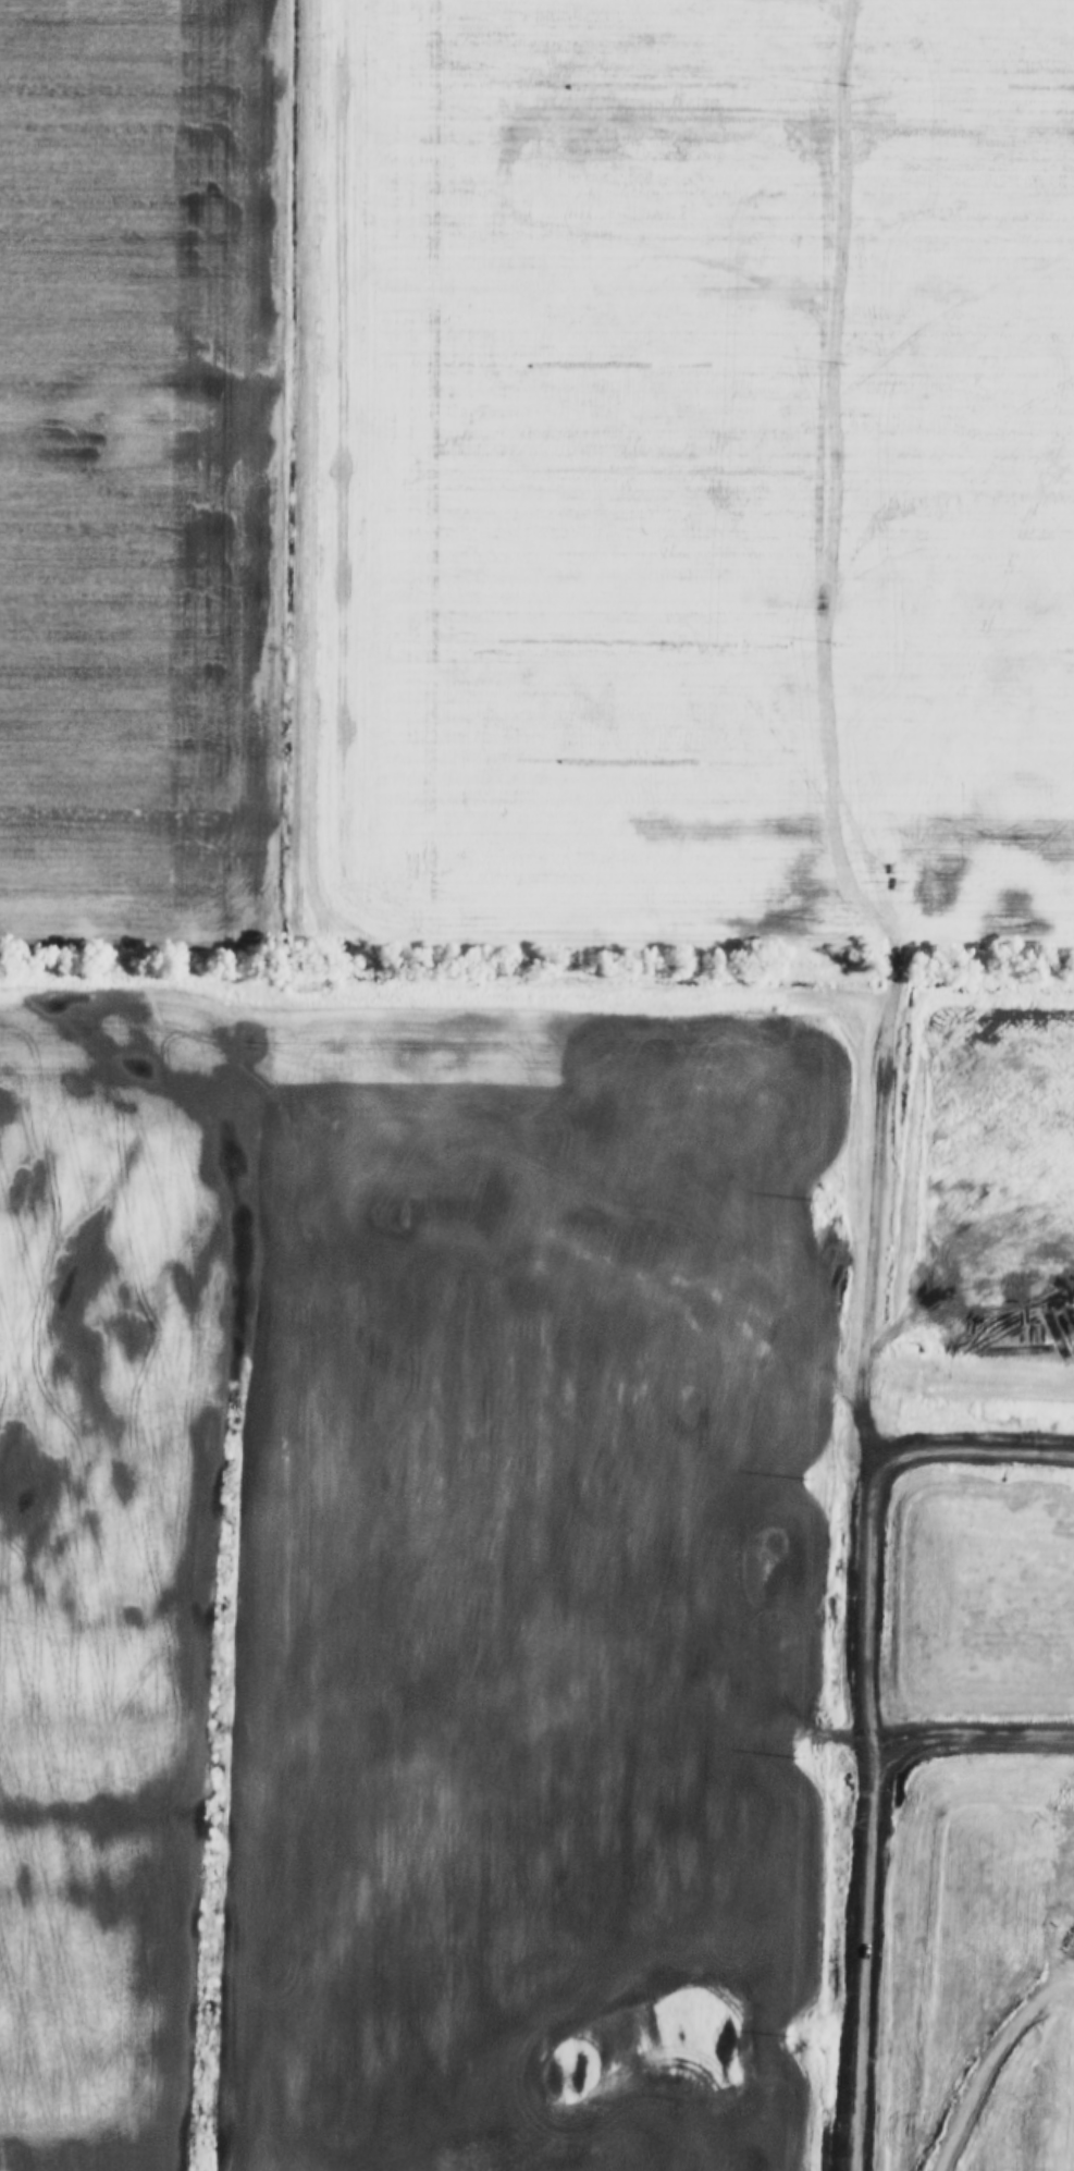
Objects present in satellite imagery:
crop: (143, 473)
crop: (680, 479)
crop: (104, 1534)
crop: (534, 1562)
road: (872, 1727)

